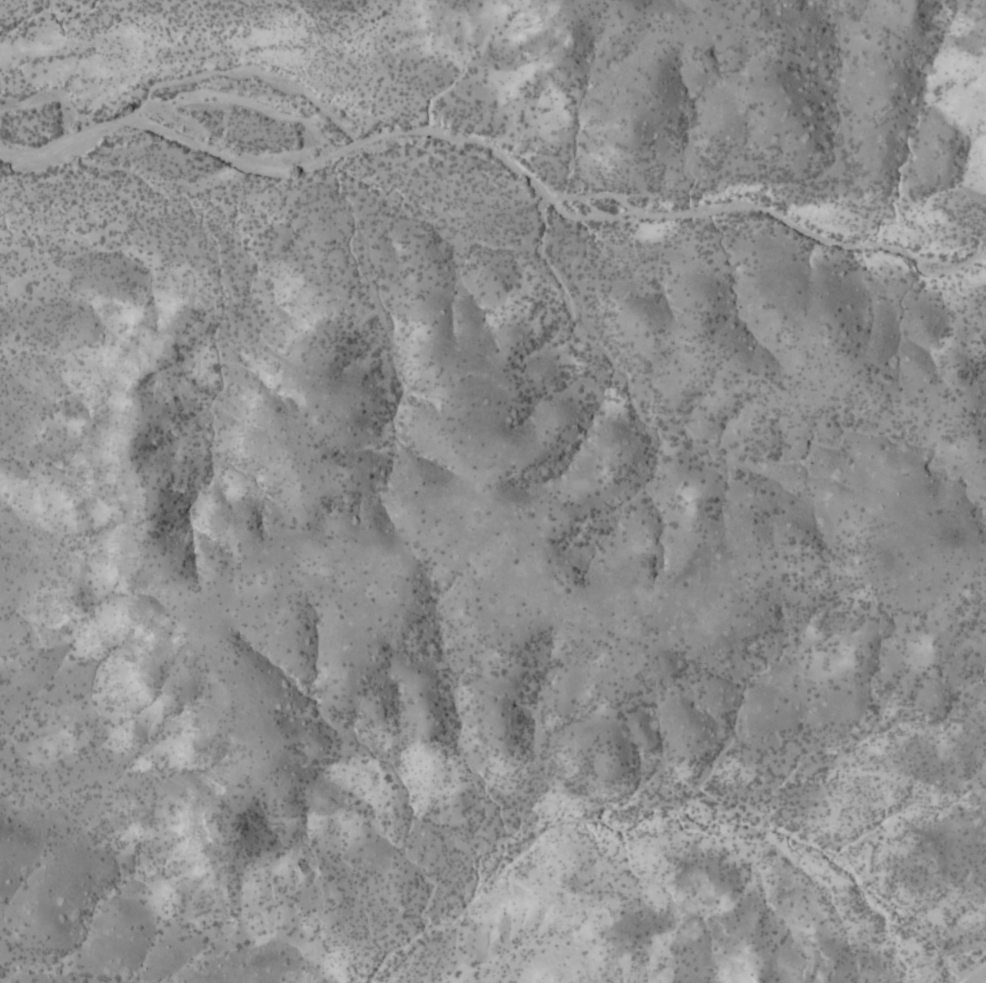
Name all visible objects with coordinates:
road: (976, 975)

